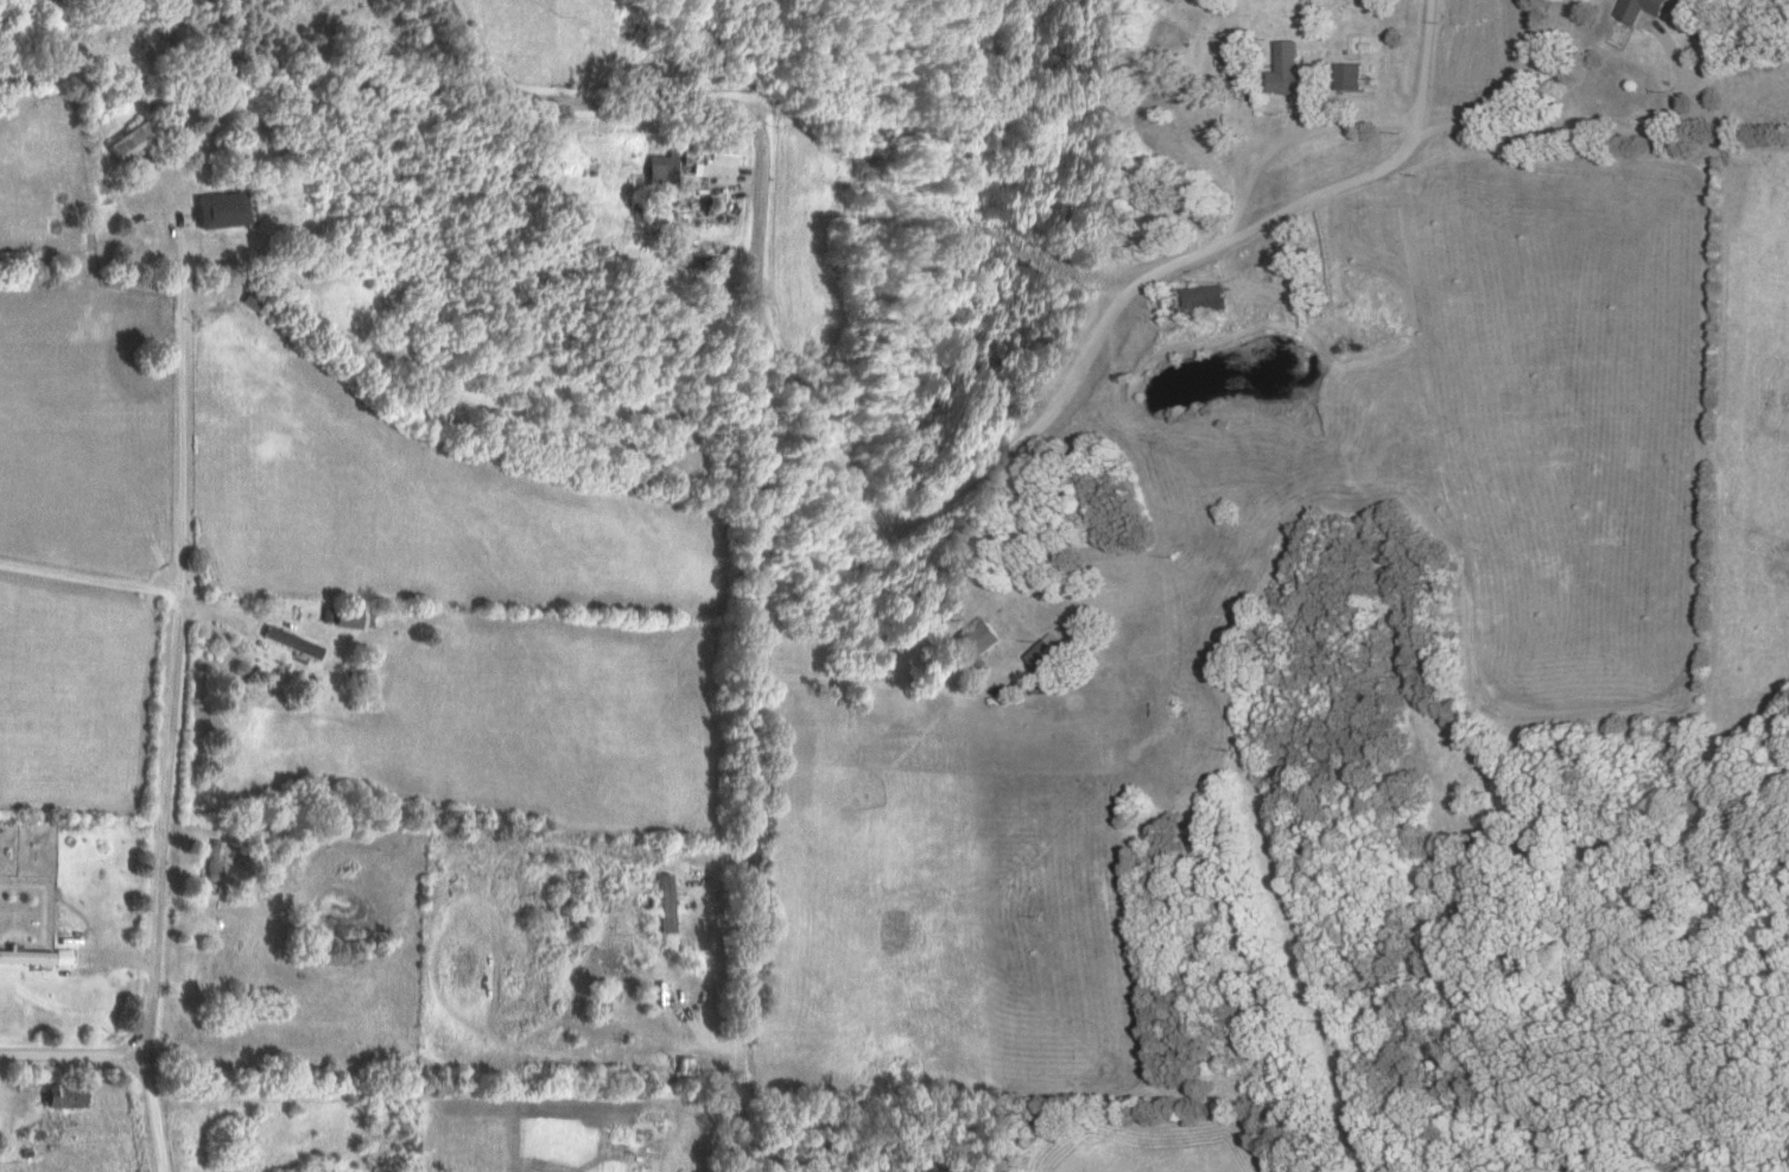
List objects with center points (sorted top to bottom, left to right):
building: (1671, 9)
building: (1235, 49)
road: (1413, 58)
building: (1284, 69)
building: (1347, 75)
building: (126, 139)
building: (715, 159)
building: (659, 170)
building: (214, 208)
building: (693, 259)
road: (1167, 262)
building: (1190, 298)
building: (252, 299)
road: (746, 469)
road: (88, 581)
road: (246, 616)
building: (286, 640)
building: (976, 641)
building: (1045, 651)
road: (170, 671)
building: (210, 861)
building: (660, 901)
building: (21, 955)
road: (69, 1054)
building: (55, 1095)

